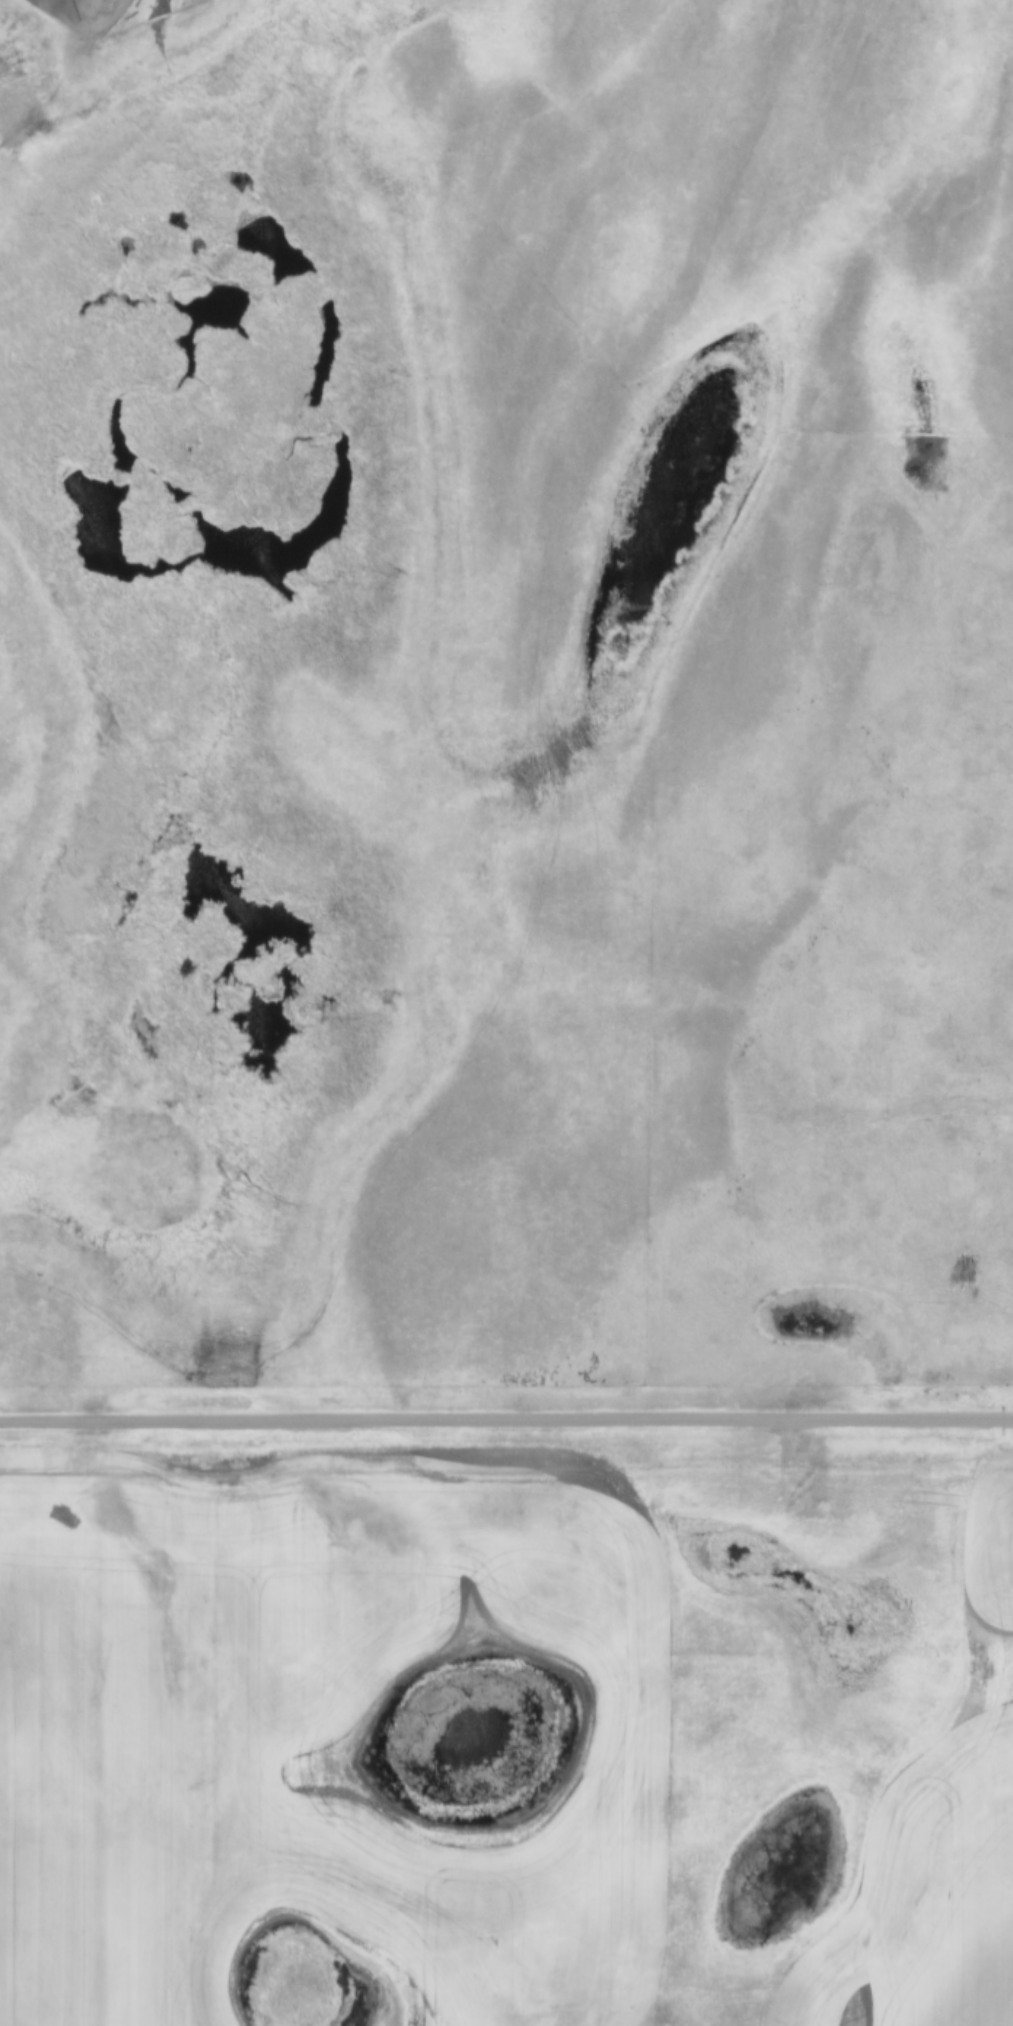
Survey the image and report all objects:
road: (506, 1424)

